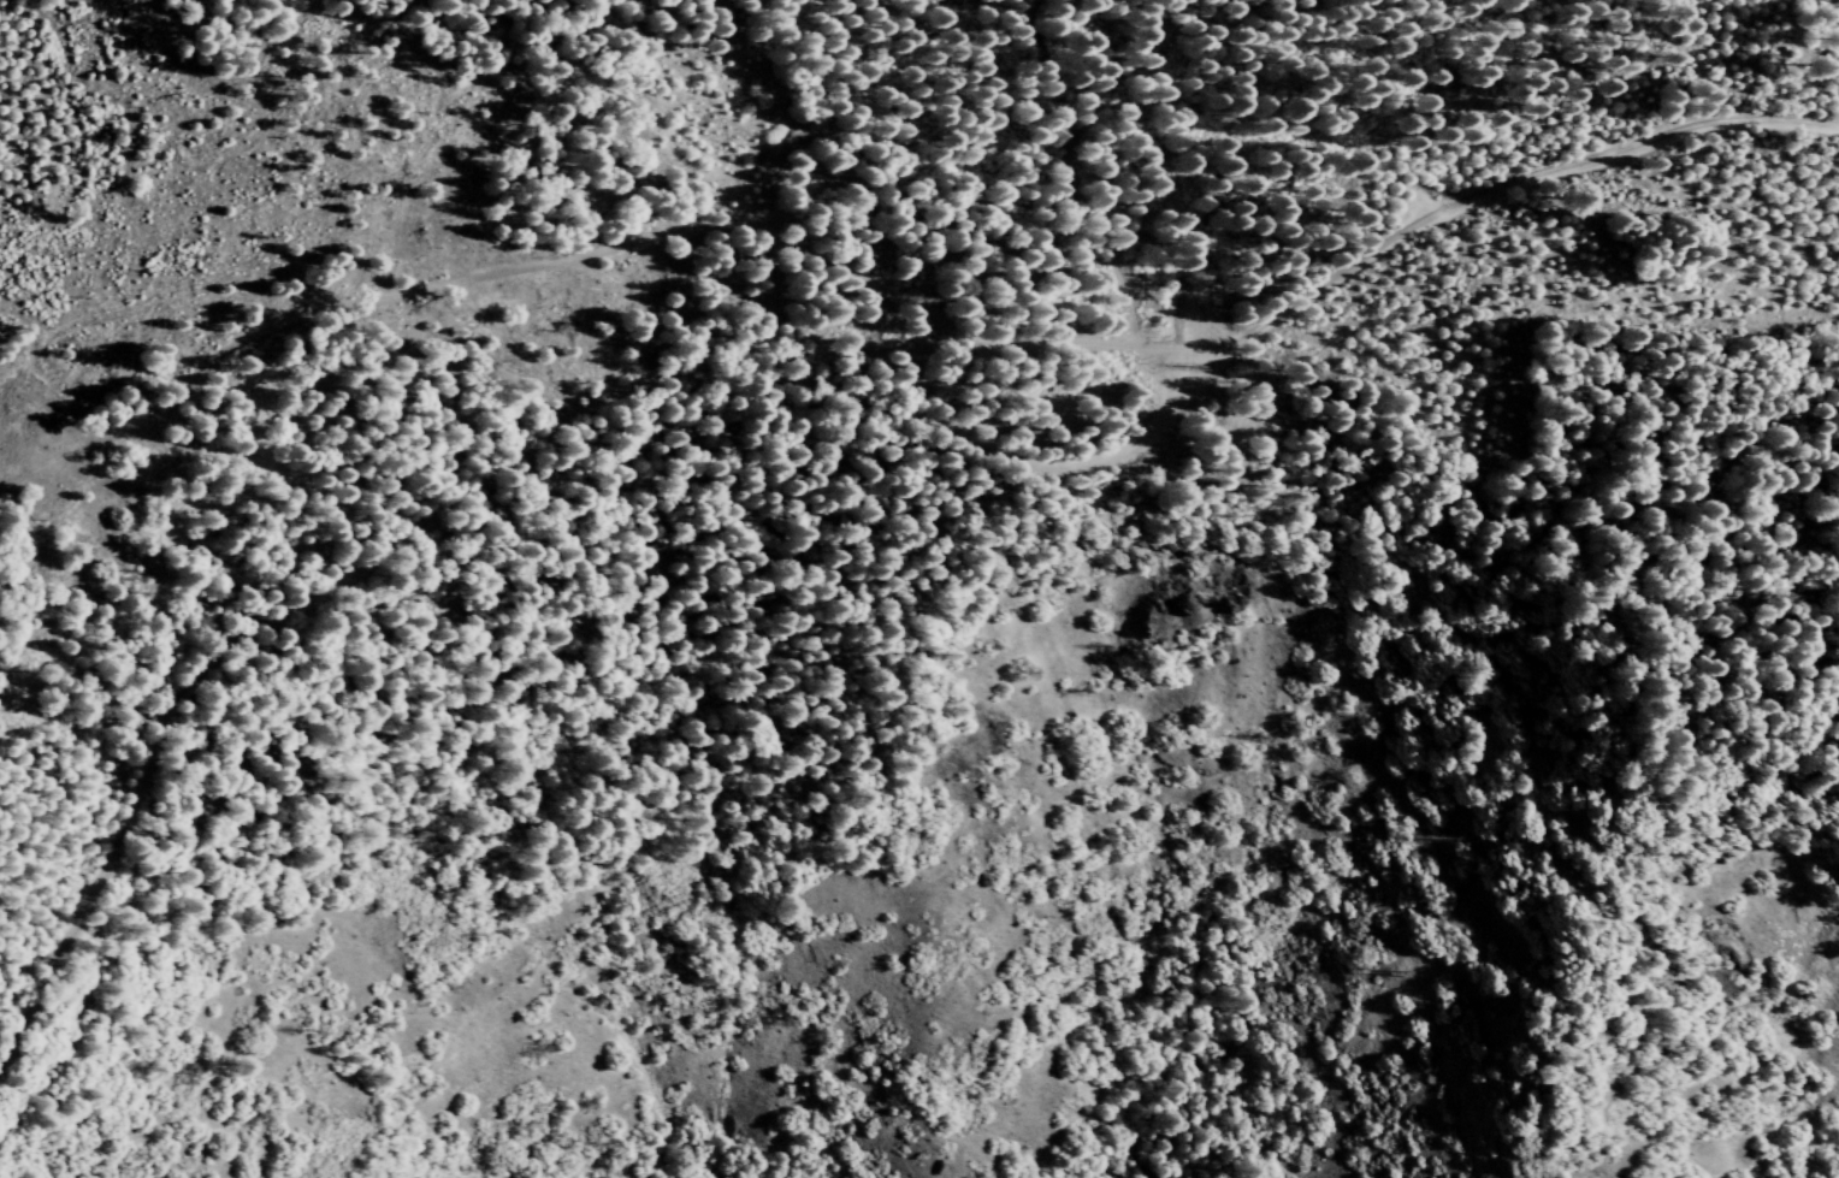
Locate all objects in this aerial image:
road: (810, 401)

